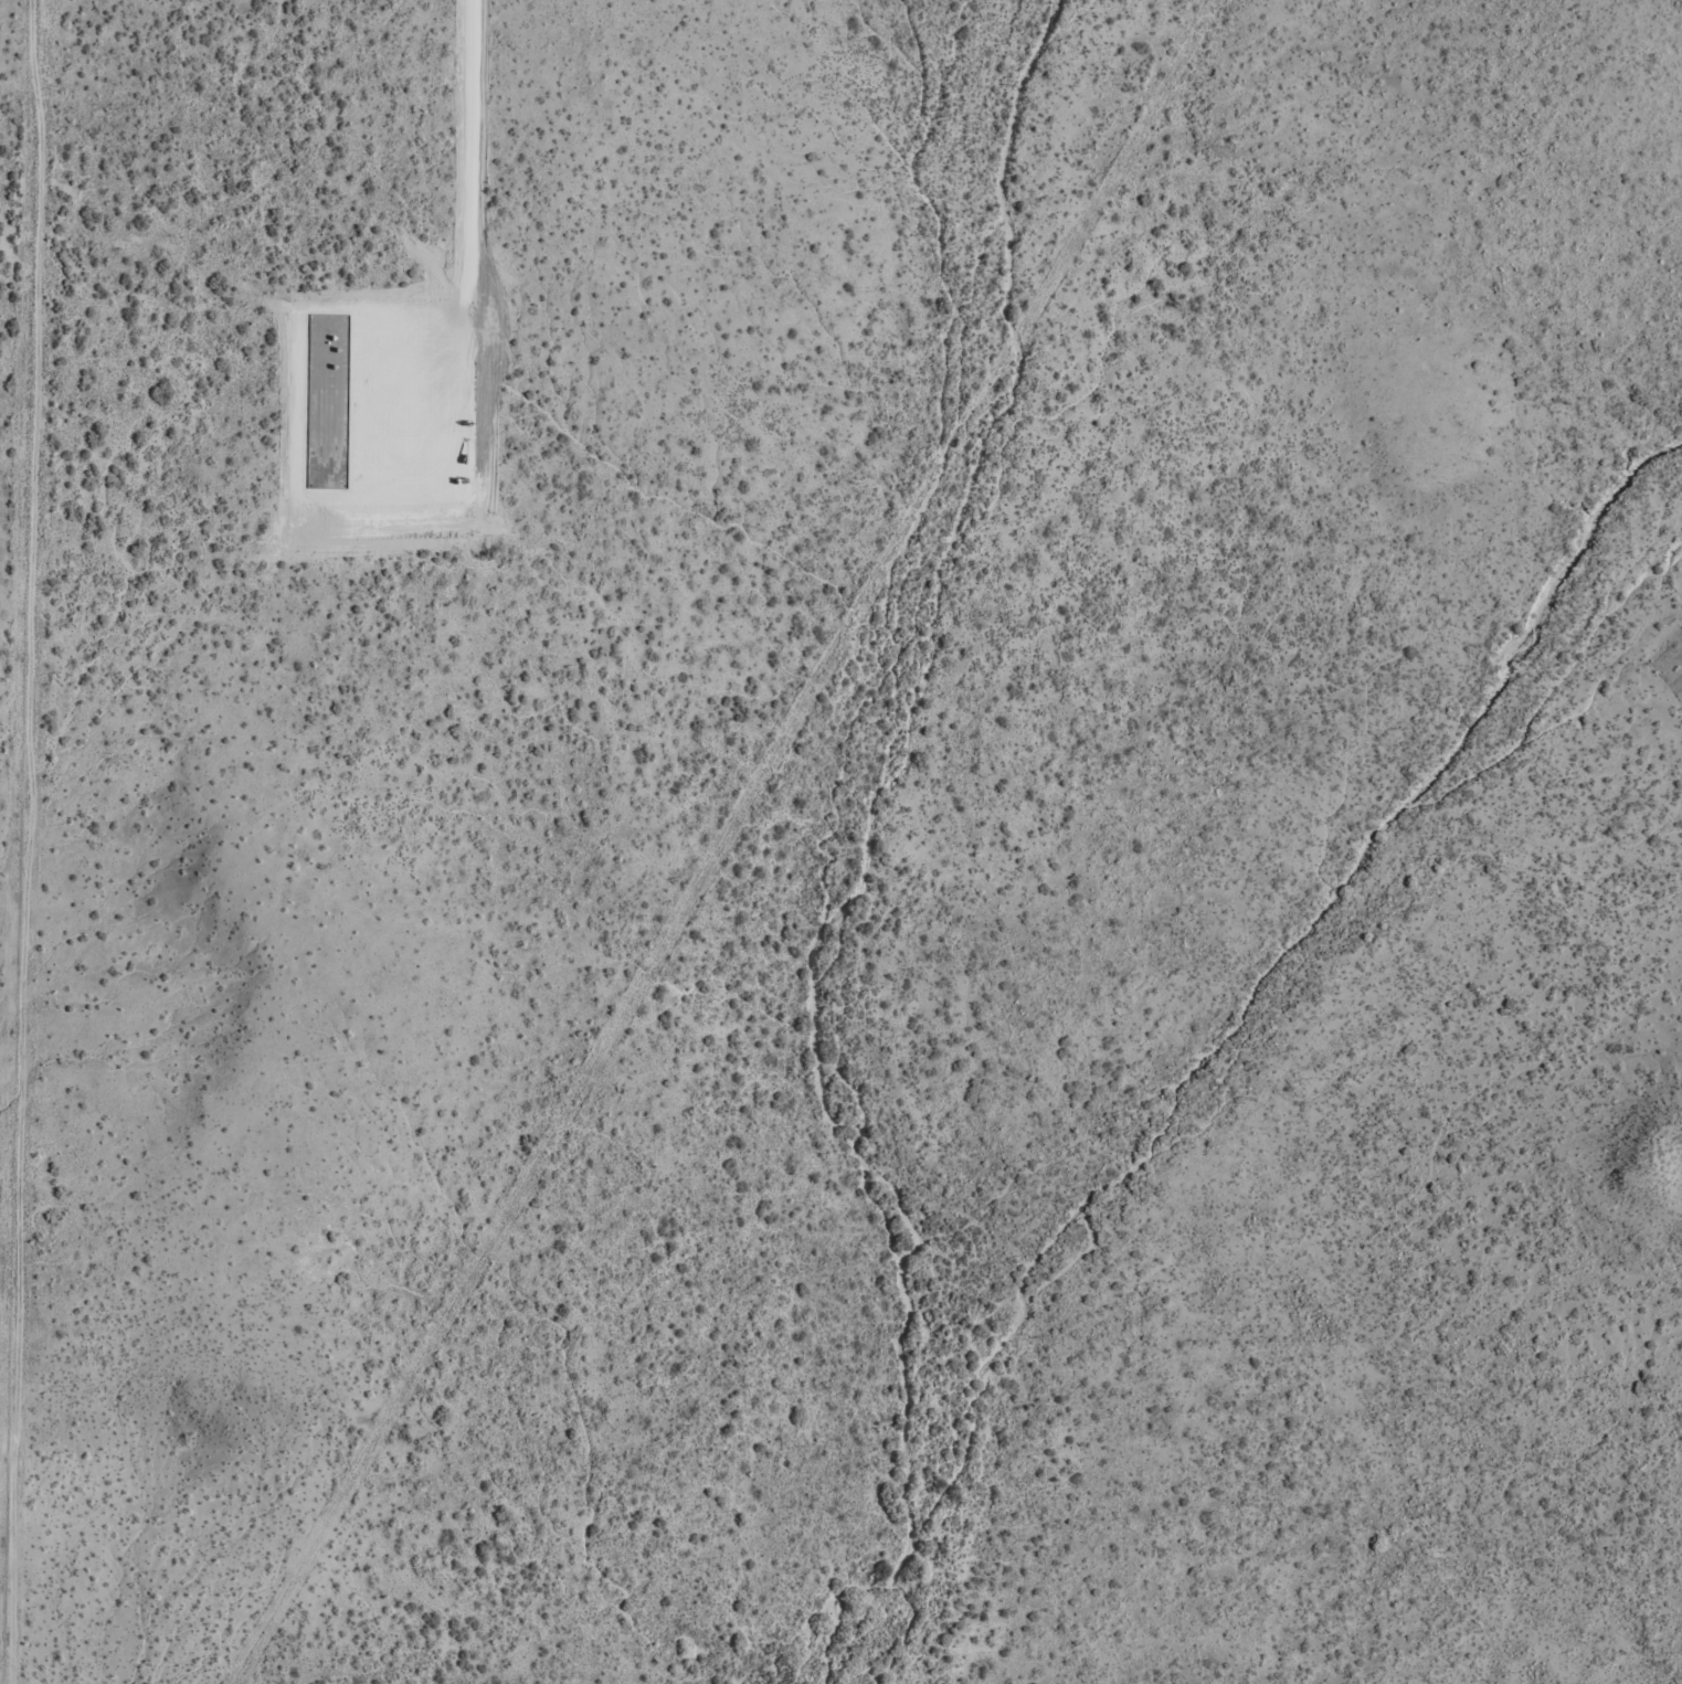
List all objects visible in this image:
road: (470, 316)

